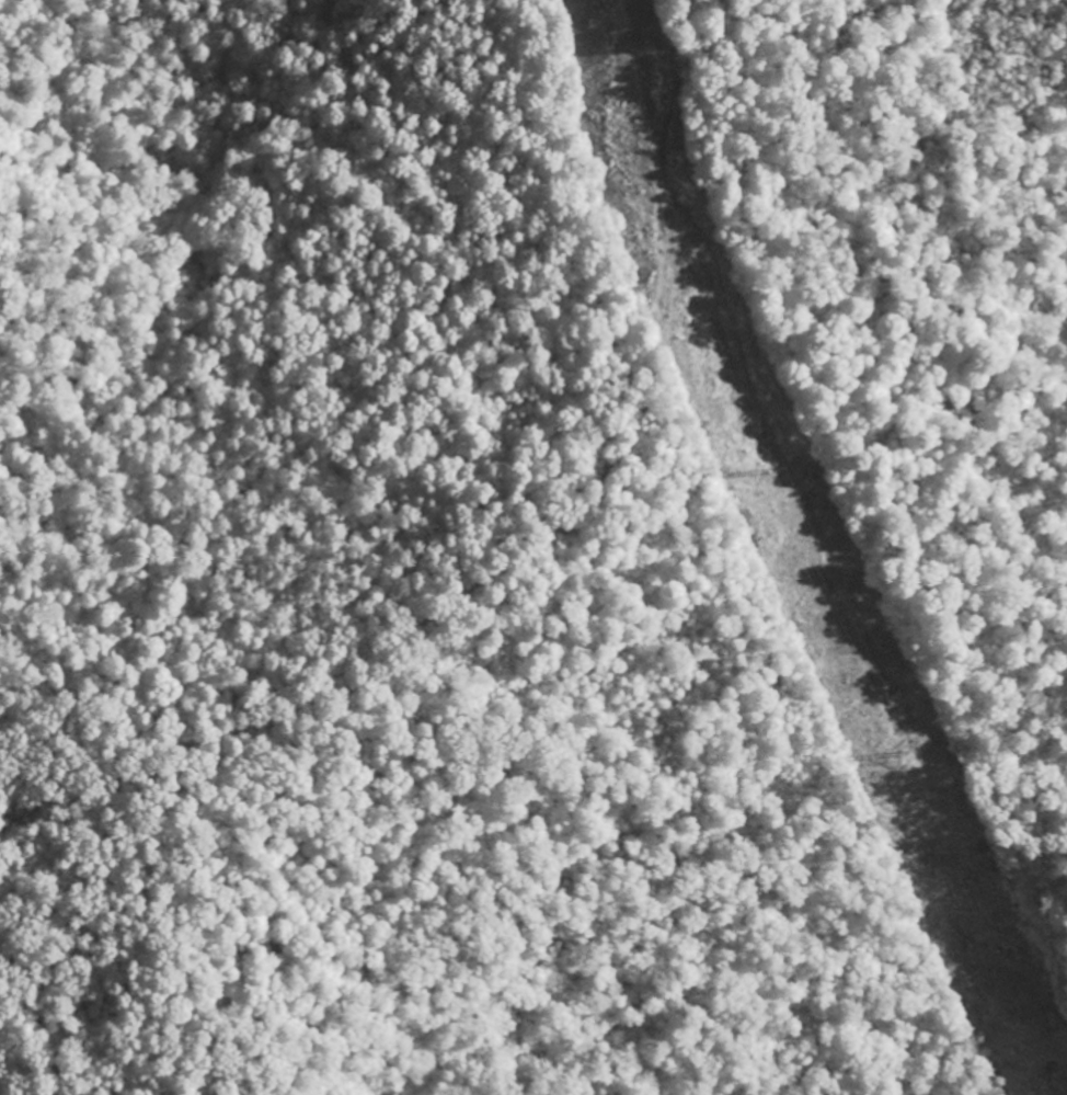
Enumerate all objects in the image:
power tower: (618, 30)
power tower: (918, 756)

